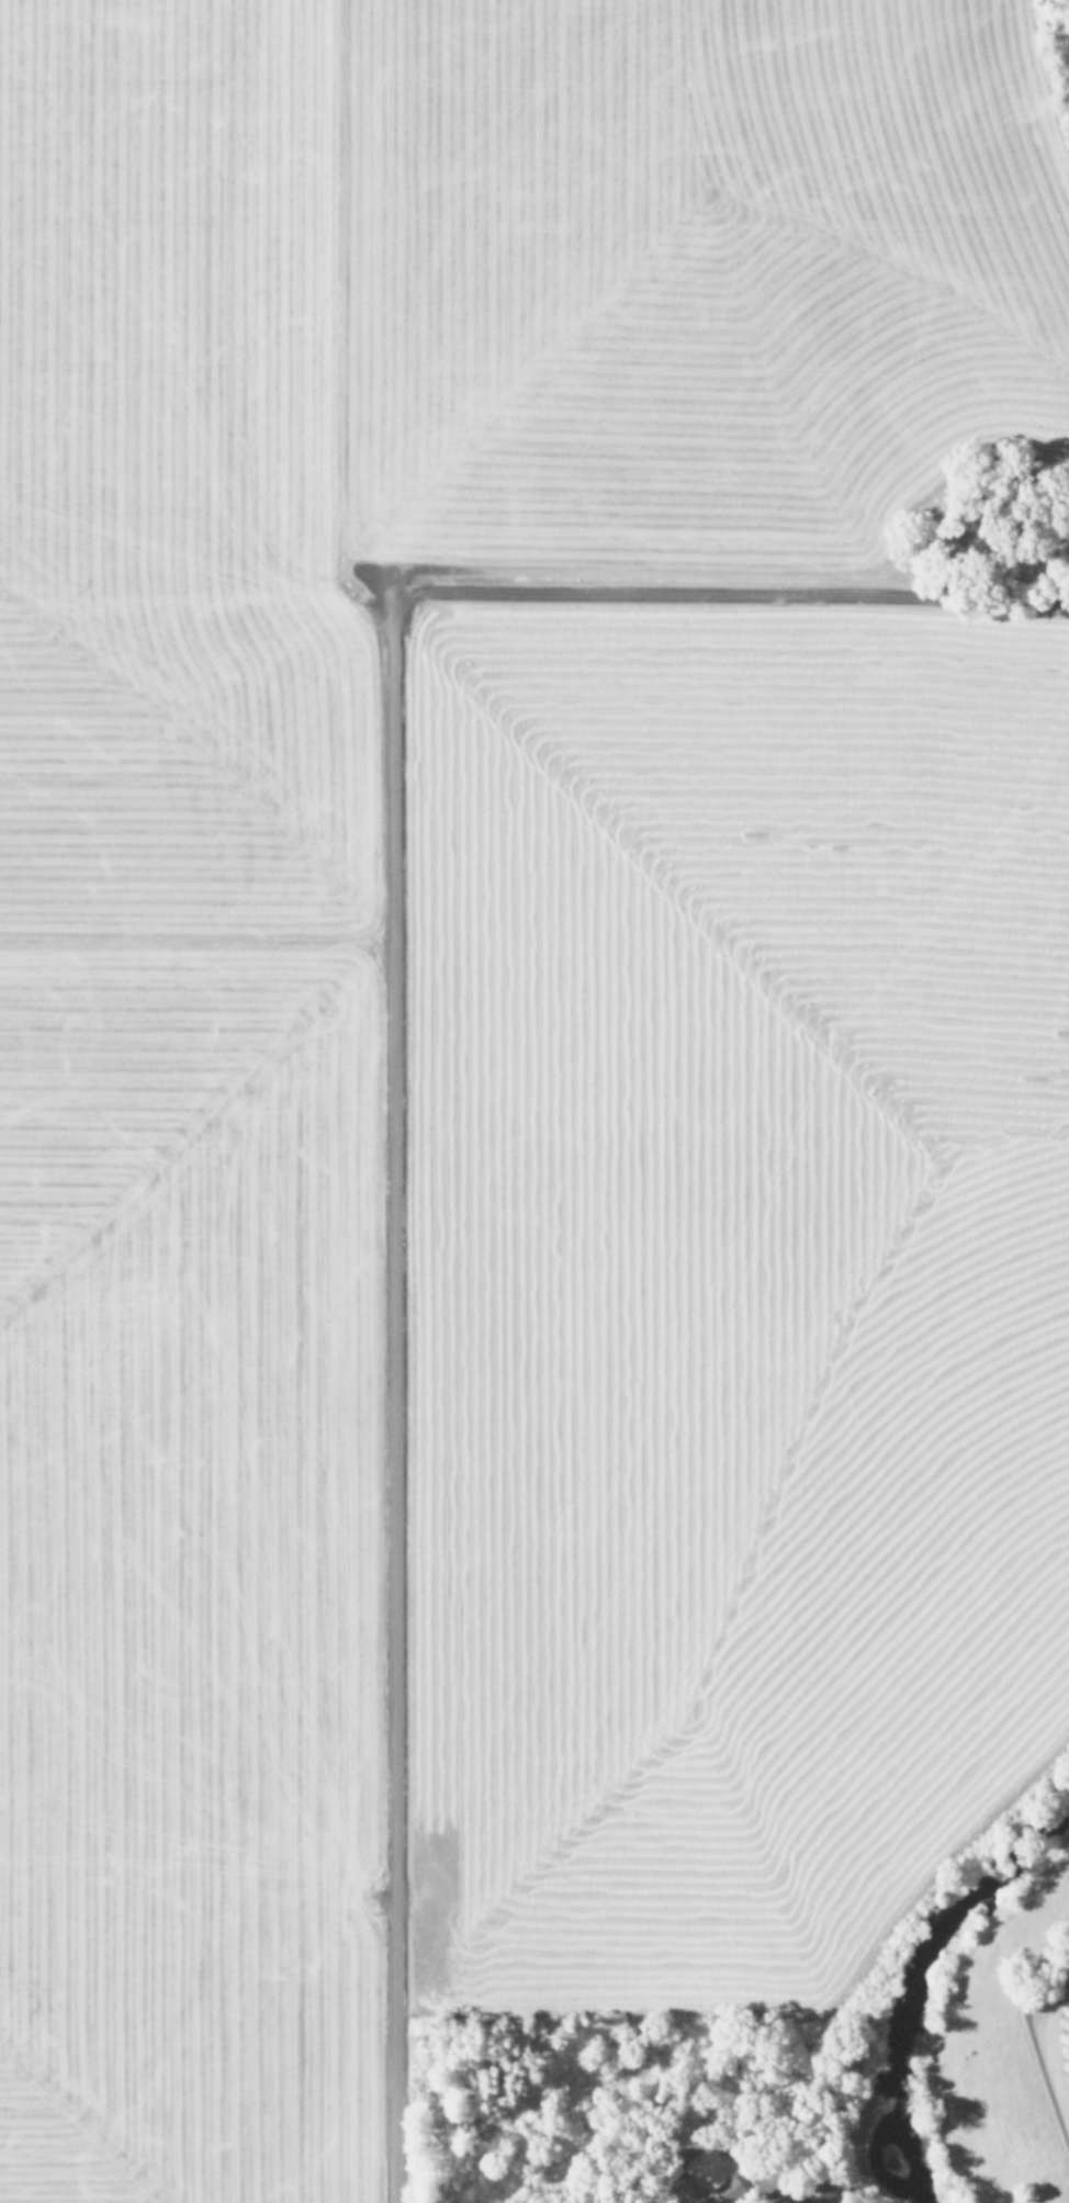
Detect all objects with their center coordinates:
crop: (505, 1037)
road: (396, 1162)

